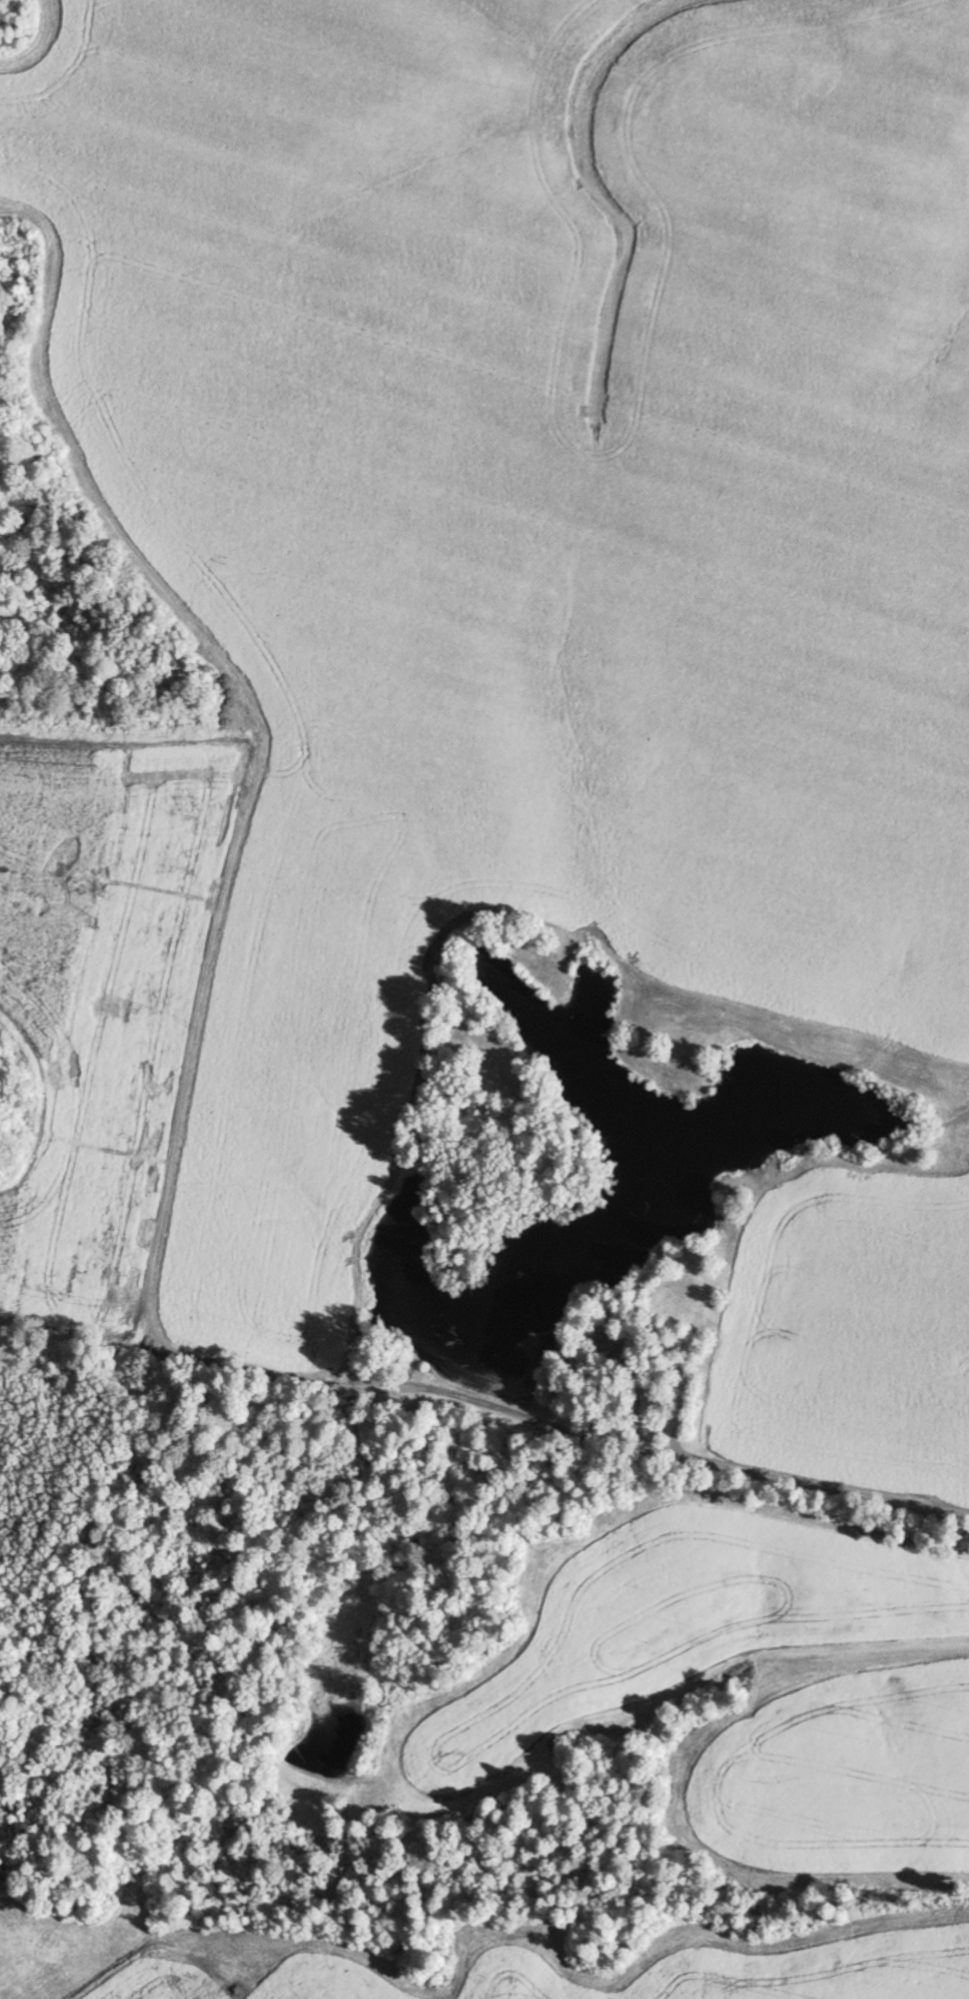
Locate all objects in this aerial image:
building: (615, 1344)

